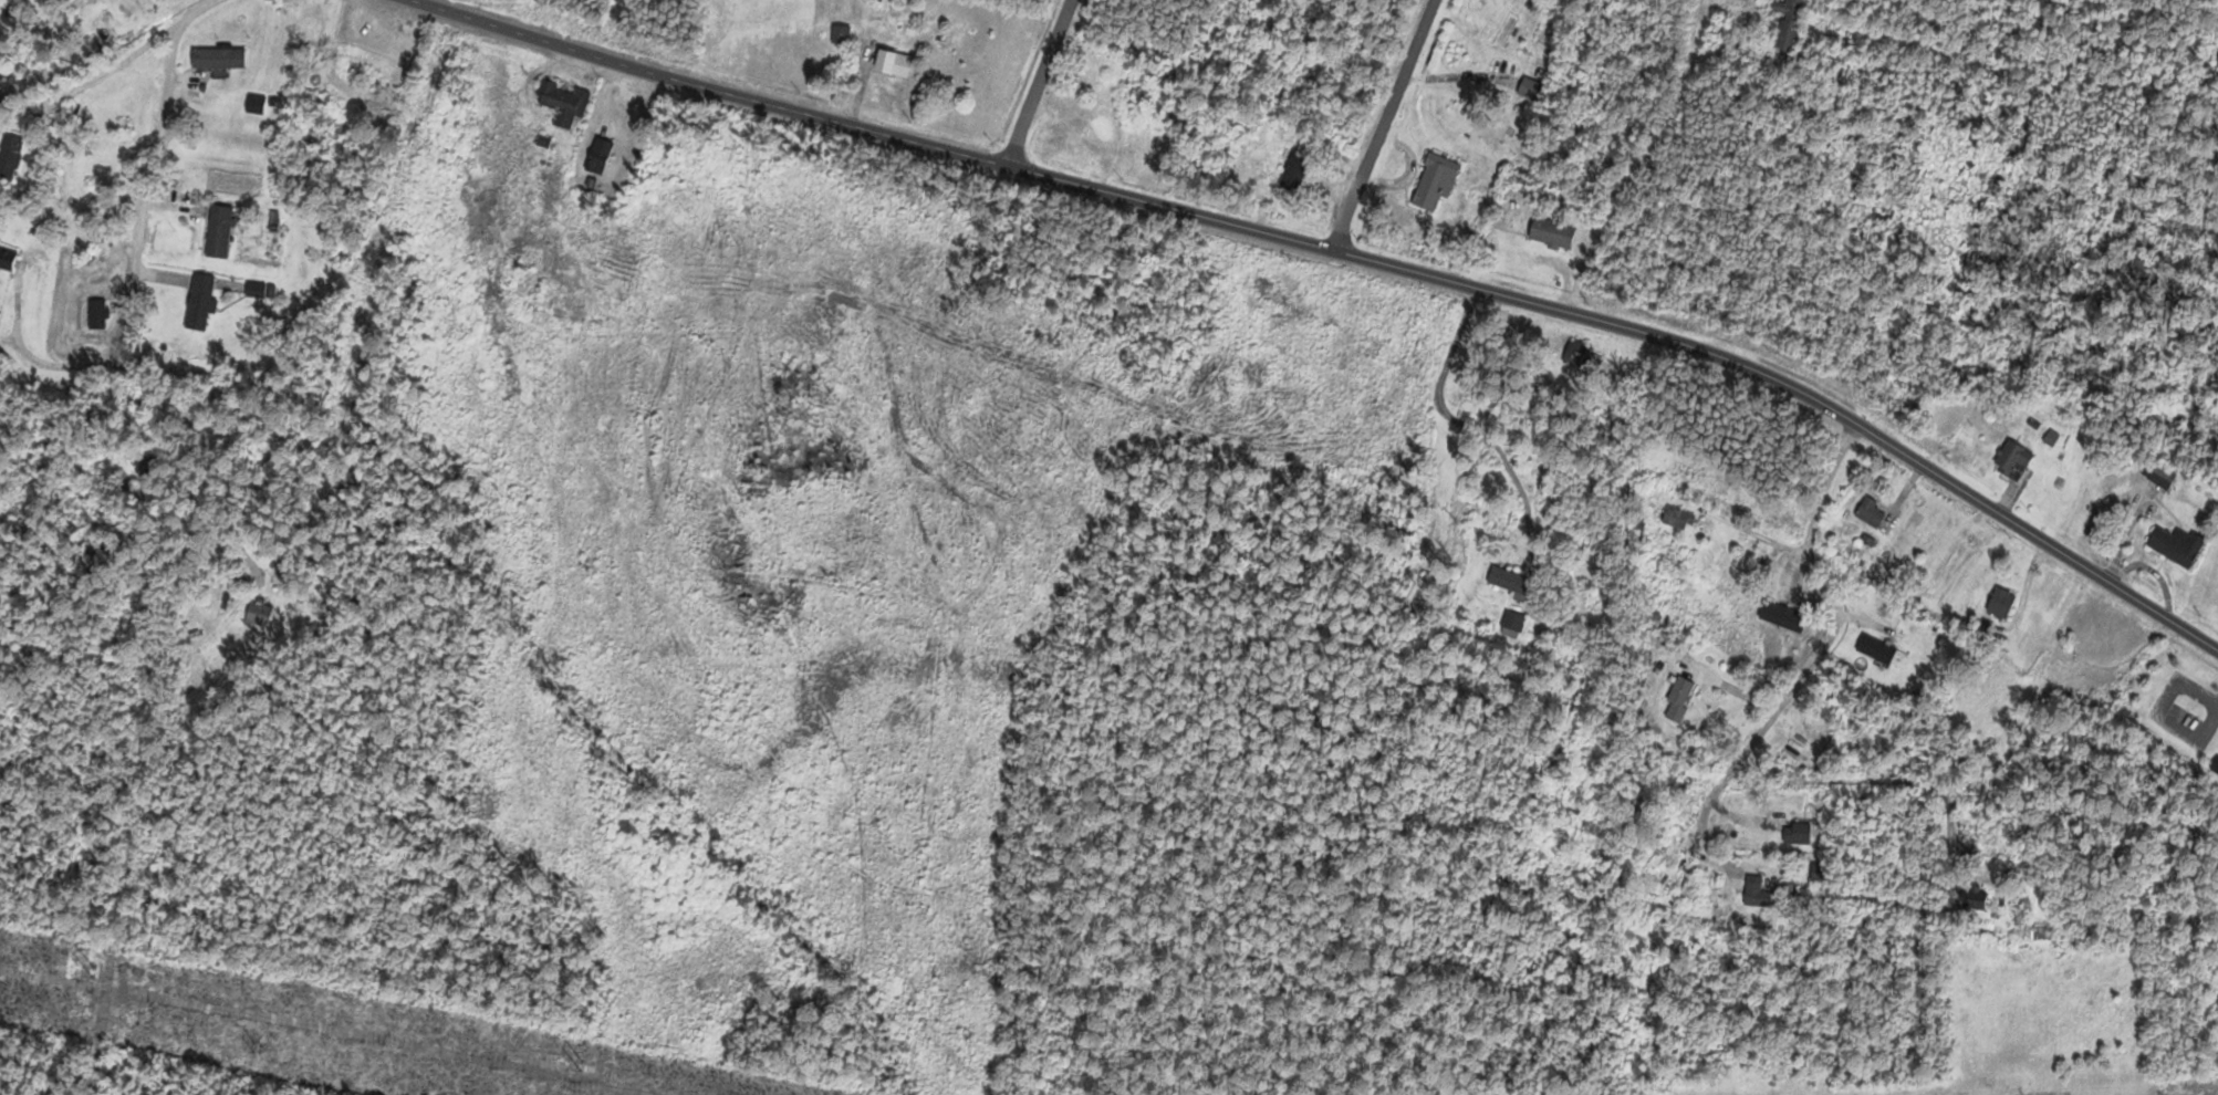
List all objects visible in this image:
building: (1788, 24)
building: (841, 33)
building: (218, 56)
building: (892, 62)
road: (91, 80)
road: (1039, 83)
building: (1529, 88)
road: (1684, 90)
building: (560, 102)
road: (1386, 125)
building: (1107, 132)
building: (9, 154)
building: (598, 155)
building: (1294, 169)
road: (147, 170)
building: (1433, 181)
building: (218, 230)
building: (1551, 232)
building: (7, 255)
road: (1357, 257)
building: (254, 289)
building: (199, 301)
building: (96, 313)
building: (1581, 357)
road: (46, 364)
building: (2012, 460)
building: (2162, 476)
building: (1871, 512)
building: (1678, 518)
road: (1746, 530)
building: (2176, 544)
building: (1509, 580)
building: (2000, 603)
building: (258, 613)
building: (1782, 616)
building: (1511, 624)
road: (1833, 626)
building: (1875, 649)
building: (1797, 833)
road: (1711, 853)
building: (1819, 873)
building: (1756, 893)
building: (1974, 903)
power tower: (70, 970)
power tower: (256, 1044)
power tower: (567, 1063)

